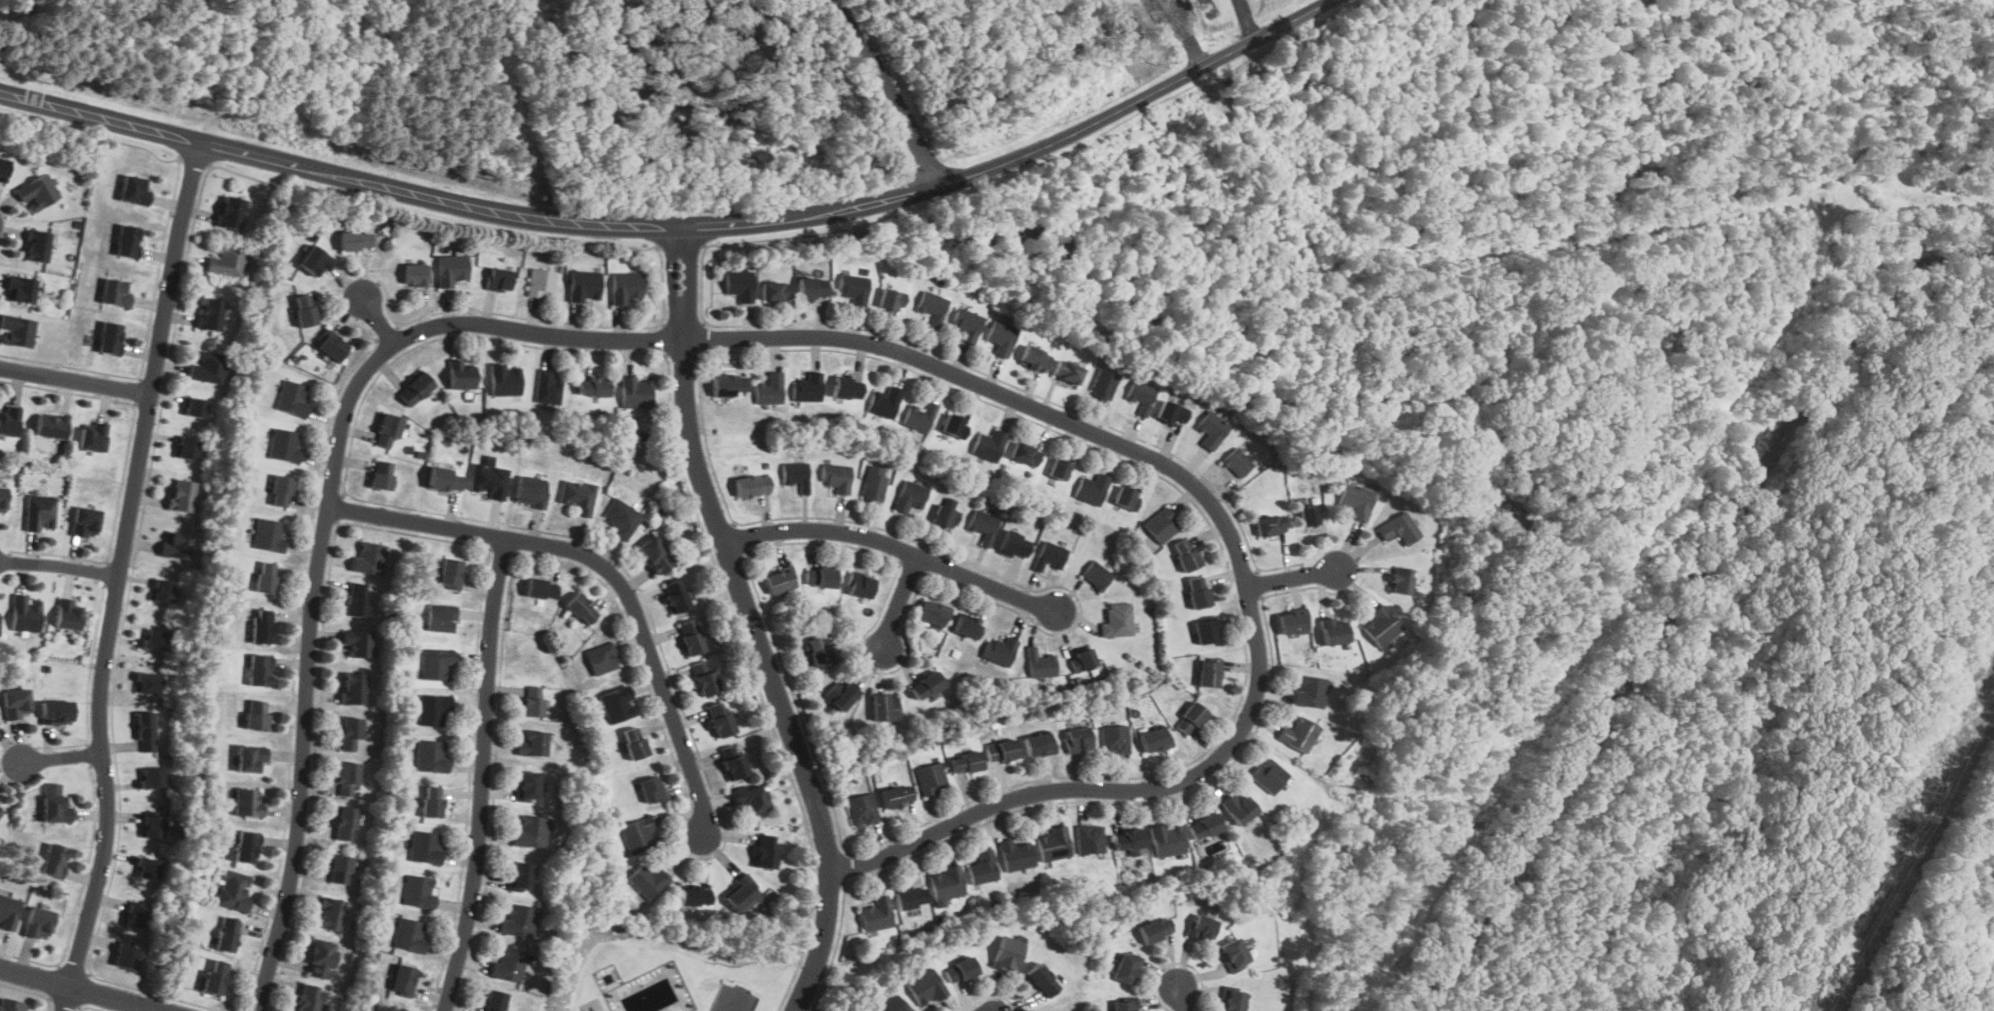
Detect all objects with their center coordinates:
road: (1186, 32)
road: (807, 33)
road: (889, 89)
building: (4, 169)
building: (135, 189)
building: (38, 191)
building: (229, 212)
road: (681, 225)
building: (126, 240)
building: (355, 240)
building: (37, 246)
building: (226, 259)
building: (315, 260)
building: (451, 268)
building: (415, 274)
building: (499, 279)
building: (541, 283)
building: (740, 284)
building: (585, 286)
building: (626, 286)
building: (21, 288)
building: (812, 288)
building: (854, 288)
building: (775, 290)
building: (115, 292)
building: (891, 299)
building: (932, 306)
building: (304, 309)
building: (210, 314)
road: (379, 321)
building: (967, 324)
building: (18, 330)
building: (109, 337)
building: (1001, 337)
road: (818, 338)
building: (332, 347)
building: (1034, 357)
building: (208, 365)
building: (1068, 372)
building: (462, 374)
building: (504, 380)
road: (76, 381)
building: (1104, 384)
building: (728, 385)
building: (548, 386)
building: (593, 386)
building: (847, 387)
building: (769, 388)
building: (808, 388)
building: (415, 389)
building: (636, 392)
building: (1141, 394)
building: (292, 398)
building: (885, 401)
building: (193, 405)
building: (1173, 412)
building: (919, 417)
building: (10, 419)
building: (50, 425)
building: (954, 425)
building: (387, 427)
building: (1211, 429)
building: (93, 437)
building: (989, 444)
building: (284, 445)
building: (186, 446)
building: (1025, 453)
building: (1237, 462)
building: (1059, 468)
building: (382, 475)
building: (796, 475)
building: (836, 476)
building: (445, 478)
building: (490, 480)
building: (751, 485)
building: (873, 488)
building: (1092, 488)
building: (280, 490)
building: (531, 492)
building: (180, 495)
building: (578, 496)
building: (909, 496)
building: (1126, 497)
building: (2, 499)
building: (1357, 500)
building: (39, 511)
building: (1311, 516)
building: (622, 517)
building: (944, 517)
building: (85, 522)
building: (1162, 524)
building: (1269, 524)
building: (983, 525)
building: (1399, 528)
building: (269, 534)
building: (1013, 544)
building: (174, 545)
road: (889, 546)
building: (1186, 553)
building: (654, 554)
building: (1049, 555)
building: (369, 557)
road: (60, 564)
road: (606, 568)
building: (450, 573)
building: (1096, 575)
road: (119, 576)
building: (266, 577)
building: (820, 577)
road: (1293, 578)
building: (1400, 580)
building: (779, 581)
building: (860, 584)
building: (541, 588)
building: (160, 590)
building: (1198, 592)
building: (675, 596)
building: (356, 599)
road: (898, 603)
building: (581, 608)
building: (26, 613)
building: (68, 613)
building: (931, 614)
building: (441, 617)
building: (1117, 619)
road: (750, 622)
building: (1291, 622)
building: (1380, 625)
building: (261, 626)
building: (968, 626)
building: (1206, 631)
building: (1334, 631)
building: (690, 636)
building: (153, 637)
building: (358, 643)
building: (999, 650)
building: (820, 651)
building: (602, 657)
building: (1082, 659)
building: (1040, 663)
building: (436, 664)
building: (258, 670)
building: (1209, 673)
building: (704, 677)
building: (146, 681)
building: (925, 685)
building: (354, 689)
building: (1309, 691)
building: (841, 694)
building: (533, 701)
building: (15, 702)
building: (616, 704)
building: (884, 706)
building: (433, 708)
building: (56, 711)
building: (257, 714)
building: (1190, 718)
building: (720, 719)
building: (144, 731)
building: (350, 734)
building: (1299, 734)
building: (1078, 739)
building: (1115, 739)
building: (1154, 740)
building: (634, 742)
building: (532, 743)
building: (1039, 744)
building: (1002, 751)
building: (431, 756)
road: (62, 758)
building: (250, 759)
building: (733, 761)
building: (966, 762)
building: (1269, 775)
building: (149, 777)
road: (482, 777)
building: (347, 778)
building: (931, 778)
building: (527, 785)
building: (651, 788)
building: (896, 796)
building: (750, 798)
building: (432, 801)
building: (247, 802)
building: (1, 807)
building: (1238, 808)
building: (56, 809)
building: (862, 809)
building: (1, 810)
power tower: (1914, 817)
building: (344, 823)
building: (150, 824)
building: (1204, 826)
building: (531, 830)
building: (638, 835)
building: (1090, 838)
building: (1167, 839)
building: (1129, 840)
building: (1053, 844)
building: (425, 846)
building: (244, 847)
building: (765, 851)
building: (1015, 855)
building: (53, 860)
building: (146, 866)
building: (983, 867)
building: (339, 869)
building: (521, 875)
building: (648, 881)
building: (946, 883)
building: (233, 890)
building: (419, 891)
building: (742, 893)
building: (694, 896)
building: (911, 897)
building: (8, 911)
building: (330, 914)
building: (876, 914)
building: (132, 915)
building: (518, 919)
building: (37, 922)
building: (1200, 927)
building: (1155, 930)
building: (226, 934)
building: (410, 934)
building: (1008, 953)
building: (1233, 954)
building: (124, 955)
building: (320, 958)
building: (508, 964)
building: (1127, 968)
building: (961, 970)
building: (215, 977)
building: (403, 979)
building: (1042, 979)
building: (926, 987)
road: (77, 990)
building: (307, 997)
road: (1184, 997)
building: (1233, 999)
building: (494, 1000)
road: (733, 1002)
building: (894, 1004)
building: (11, 1005)
building: (1124, 1005)
building: (386, 1008)

